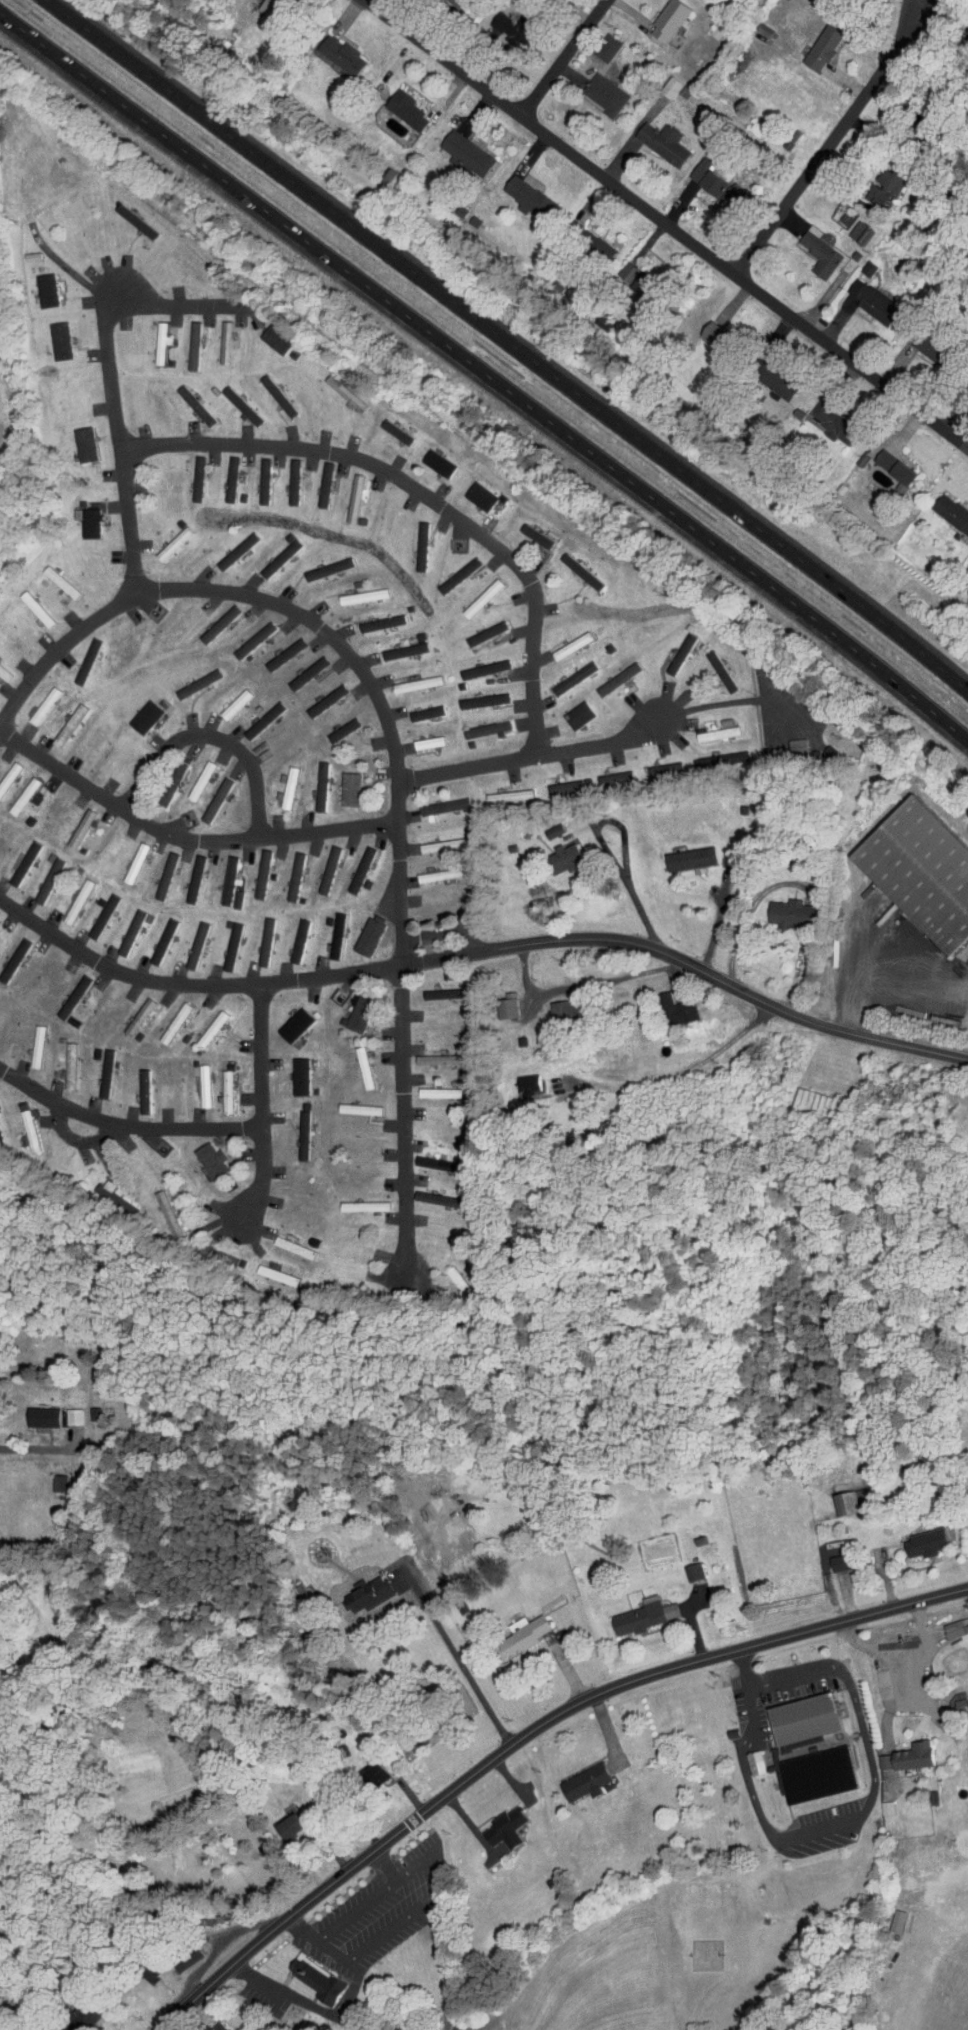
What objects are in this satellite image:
building: (661, 16)
building: (506, 22)
building: (817, 41)
building: (598, 42)
building: (337, 51)
road: (561, 58)
building: (596, 88)
building: (399, 104)
building: (655, 137)
road: (832, 137)
building: (461, 151)
building: (691, 163)
building: (890, 175)
building: (715, 184)
building: (522, 192)
building: (835, 213)
building: (128, 216)
building: (846, 223)
road: (665, 224)
building: (598, 244)
building: (812, 246)
building: (860, 262)
building: (619, 264)
building: (40, 284)
building: (865, 296)
building: (266, 334)
building: (54, 335)
building: (154, 336)
building: (218, 336)
building: (184, 339)
building: (923, 341)
road: (509, 344)
road: (109, 373)
road: (485, 374)
building: (775, 380)
building: (335, 388)
building: (270, 391)
building: (185, 399)
building: (234, 401)
building: (826, 418)
road: (958, 419)
building: (387, 426)
building: (77, 439)
building: (430, 457)
building: (890, 462)
building: (190, 472)
building: (223, 473)
building: (255, 475)
building: (285, 476)
building: (317, 479)
road: (399, 479)
building: (472, 491)
building: (347, 492)
building: (942, 509)
building: (80, 517)
building: (528, 531)
building: (166, 538)
building: (412, 540)
building: (229, 545)
building: (271, 552)
building: (320, 563)
building: (574, 566)
building: (451, 569)
building: (53, 577)
building: (356, 590)
building: (476, 592)
building: (29, 603)
road: (280, 607)
building: (373, 617)
building: (212, 618)
building: (476, 628)
building: (245, 635)
building: (563, 639)
building: (397, 645)
building: (276, 649)
building: (79, 655)
building: (477, 664)
building: (300, 668)
building: (2, 670)
building: (565, 672)
building: (611, 674)
building: (409, 678)
building: (189, 679)
building: (319, 695)
building: (475, 695)
building: (227, 698)
building: (36, 699)
building: (417, 707)
building: (571, 709)
building: (137, 711)
building: (255, 714)
building: (60, 719)
building: (335, 724)
building: (478, 724)
building: (709, 728)
road: (537, 729)
road: (210, 736)
building: (421, 737)
building: (782, 739)
building: (707, 754)
road: (533, 758)
building: (5, 765)
building: (656, 768)
building: (603, 773)
building: (193, 775)
building: (312, 781)
building: (560, 781)
building: (278, 783)
building: (342, 783)
building: (499, 790)
building: (208, 795)
building: (436, 801)
building: (74, 823)
building: (545, 825)
building: (435, 839)
road: (183, 841)
building: (561, 851)
building: (677, 852)
building: (15, 857)
building: (128, 857)
building: (352, 863)
building: (319, 864)
building: (910, 867)
building: (252, 868)
building: (431, 869)
building: (157, 870)
building: (286, 871)
building: (187, 873)
building: (39, 874)
building: (221, 878)
building: (69, 895)
building: (775, 906)
building: (94, 910)
road: (716, 921)
building: (122, 926)
building: (327, 930)
building: (360, 931)
building: (154, 935)
building: (289, 935)
building: (256, 936)
building: (187, 939)
building: (222, 940)
building: (8, 951)
road: (886, 970)
road: (316, 980)
road: (583, 985)
building: (434, 988)
building: (65, 991)
building: (503, 1002)
building: (551, 1002)
building: (662, 1003)
building: (351, 1007)
building: (131, 1011)
building: (167, 1017)
building: (287, 1019)
road: (803, 1021)
building: (204, 1023)
building: (28, 1041)
building: (432, 1054)
building: (61, 1060)
building: (357, 1062)
building: (97, 1068)
road: (676, 1070)
building: (516, 1078)
building: (195, 1080)
building: (134, 1085)
road: (403, 1085)
building: (219, 1086)
building: (430, 1087)
building: (803, 1096)
building: (353, 1104)
road: (262, 1111)
building: (20, 1125)
road: (124, 1127)
building: (294, 1130)
road: (76, 1139)
building: (203, 1154)
building: (98, 1183)
building: (351, 1200)
building: (158, 1208)
building: (280, 1241)
building: (222, 1254)
building: (65, 1410)
building: (38, 1411)
building: (51, 1476)
building: (834, 1495)
building: (909, 1537)
building: (825, 1556)
building: (680, 1565)
building: (353, 1588)
building: (630, 1609)
building: (948, 1619)
building: (508, 1629)
road: (900, 1656)
road: (457, 1659)
road: (745, 1663)
road: (898, 1701)
building: (787, 1713)
road: (521, 1732)
building: (894, 1750)
building: (746, 1755)
building: (372, 1767)
building: (803, 1768)
building: (570, 1776)
road: (857, 1815)
building: (288, 1820)
building: (490, 1823)
road: (356, 1907)
road: (411, 1914)
building: (883, 1914)
road: (219, 1943)
road: (445, 1965)
building: (311, 1974)
road: (312, 2008)
building: (84, 2010)
building: (376, 2027)

